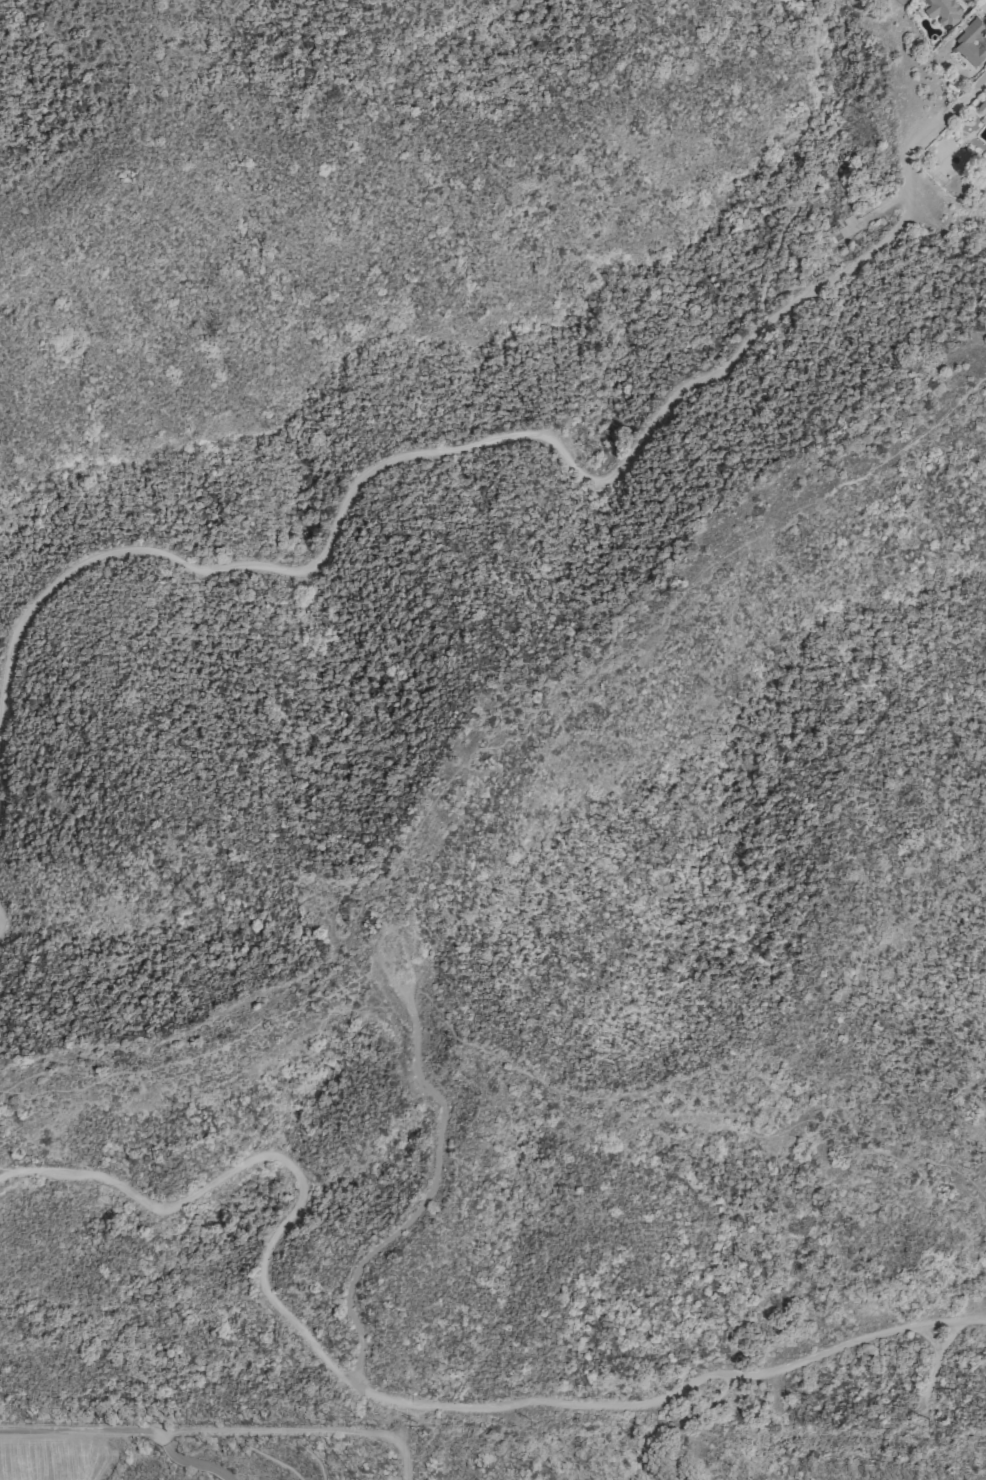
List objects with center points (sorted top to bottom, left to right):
building: (942, 10)
building: (971, 42)
building: (982, 108)
road: (749, 207)
road: (522, 435)
building: (402, 975)
road: (416, 1209)
road: (936, 1365)
road: (381, 1398)
road: (123, 1432)
road: (293, 1433)

